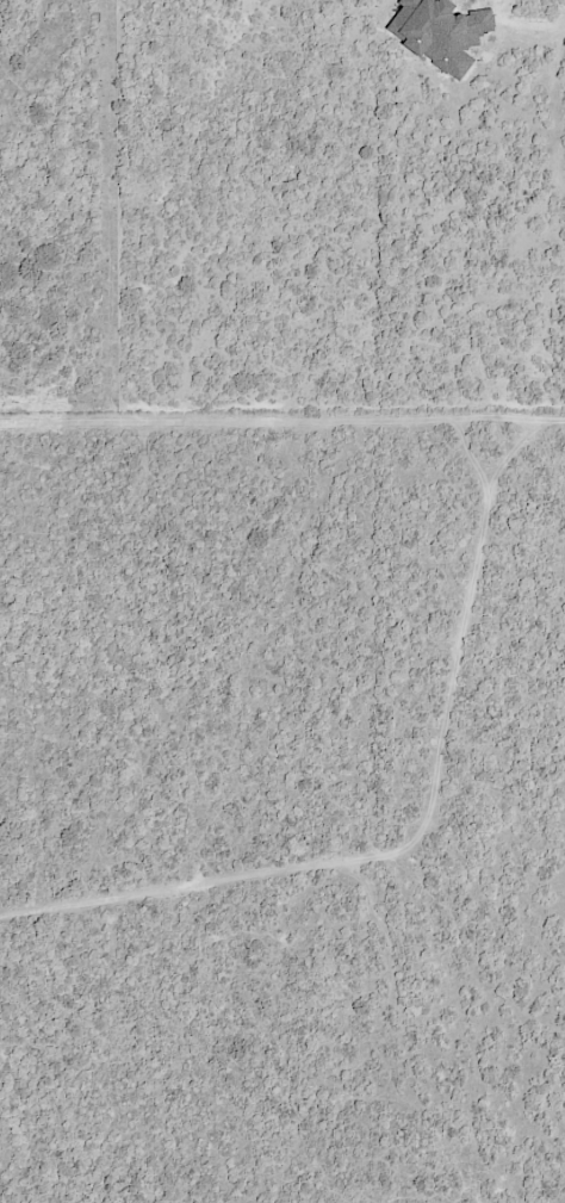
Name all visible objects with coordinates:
building: (441, 32)

